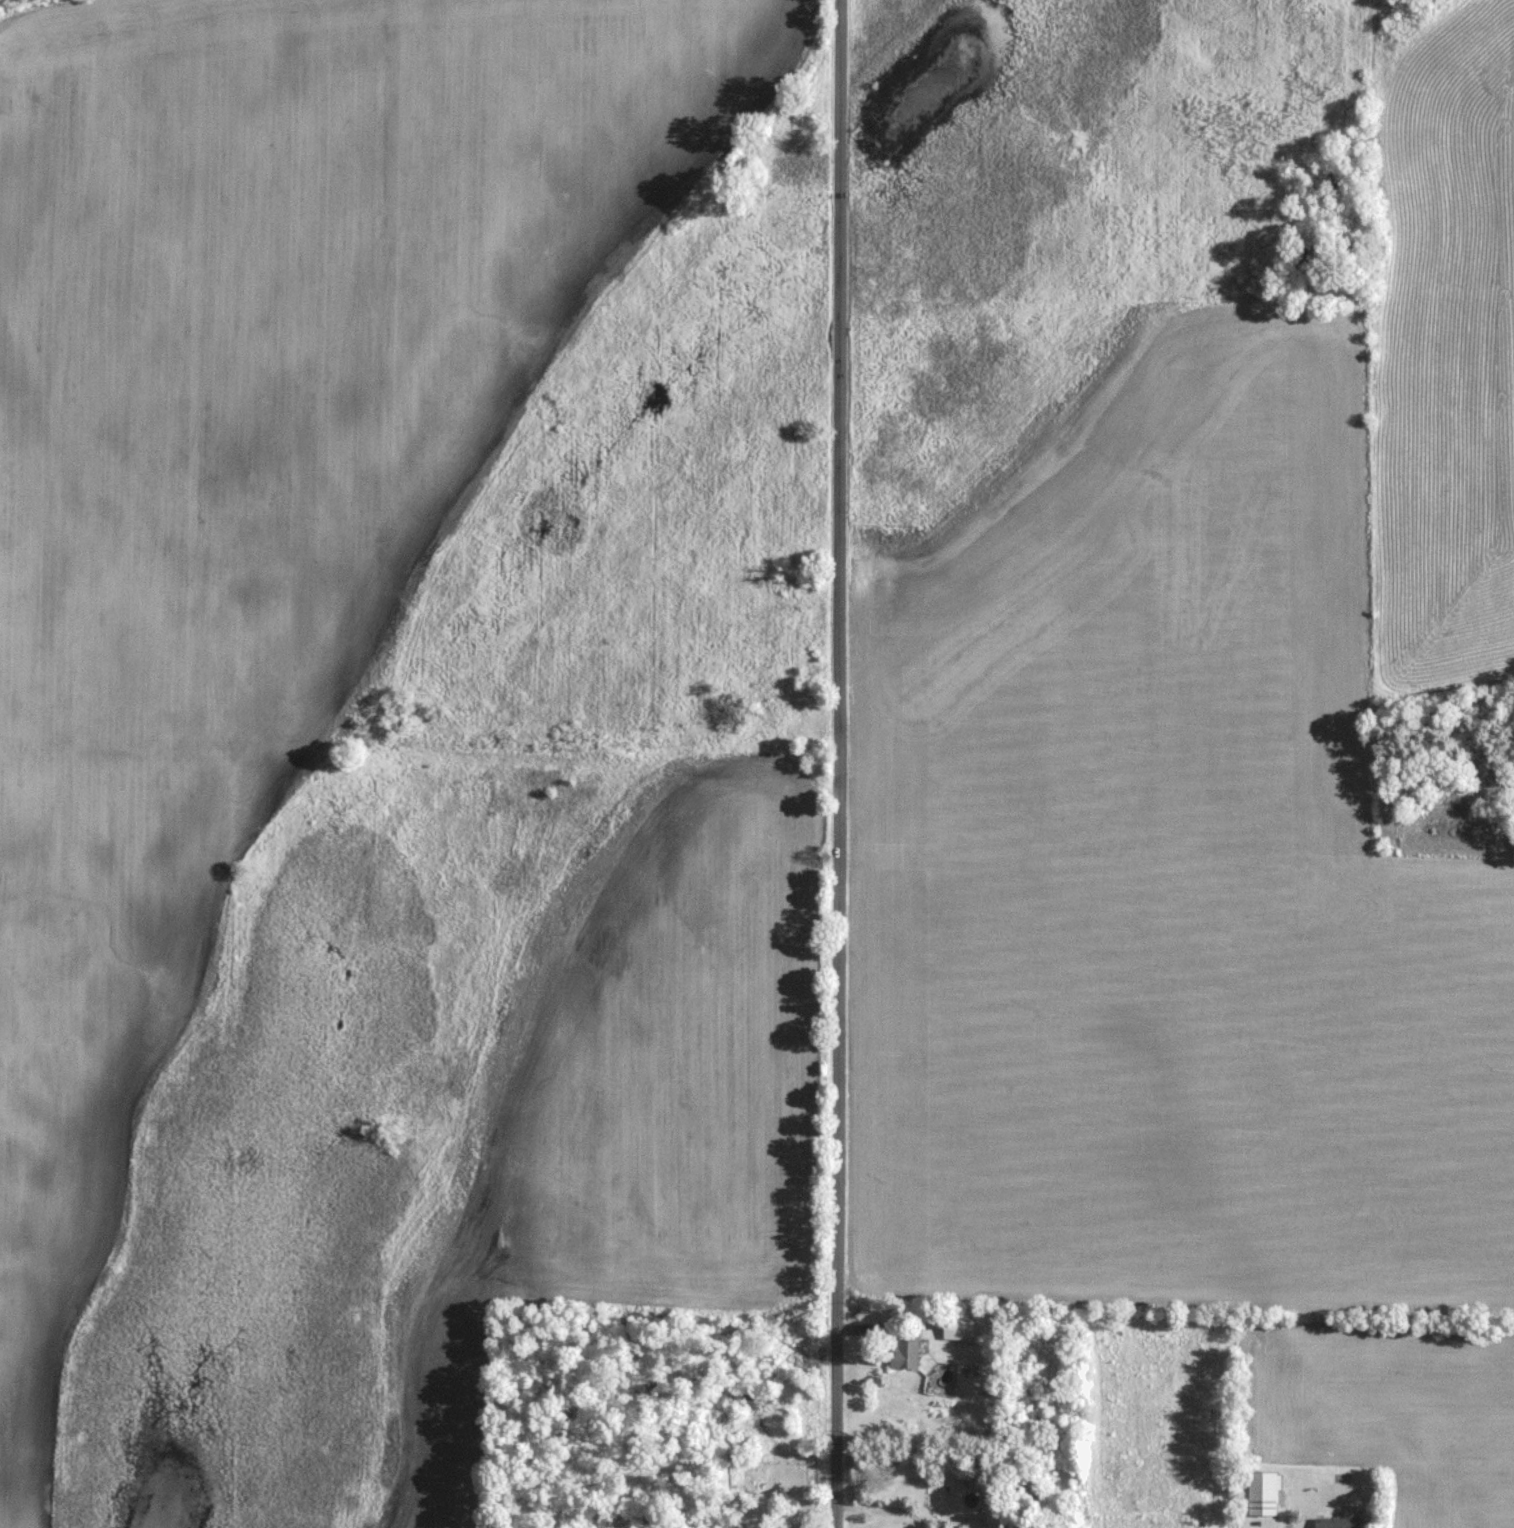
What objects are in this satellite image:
building: (1480, 762)
road: (840, 764)
building: (958, 1328)
building: (902, 1343)
building: (737, 1457)
building: (1264, 1493)
building: (730, 1499)
road: (884, 1506)
building: (1339, 1523)

